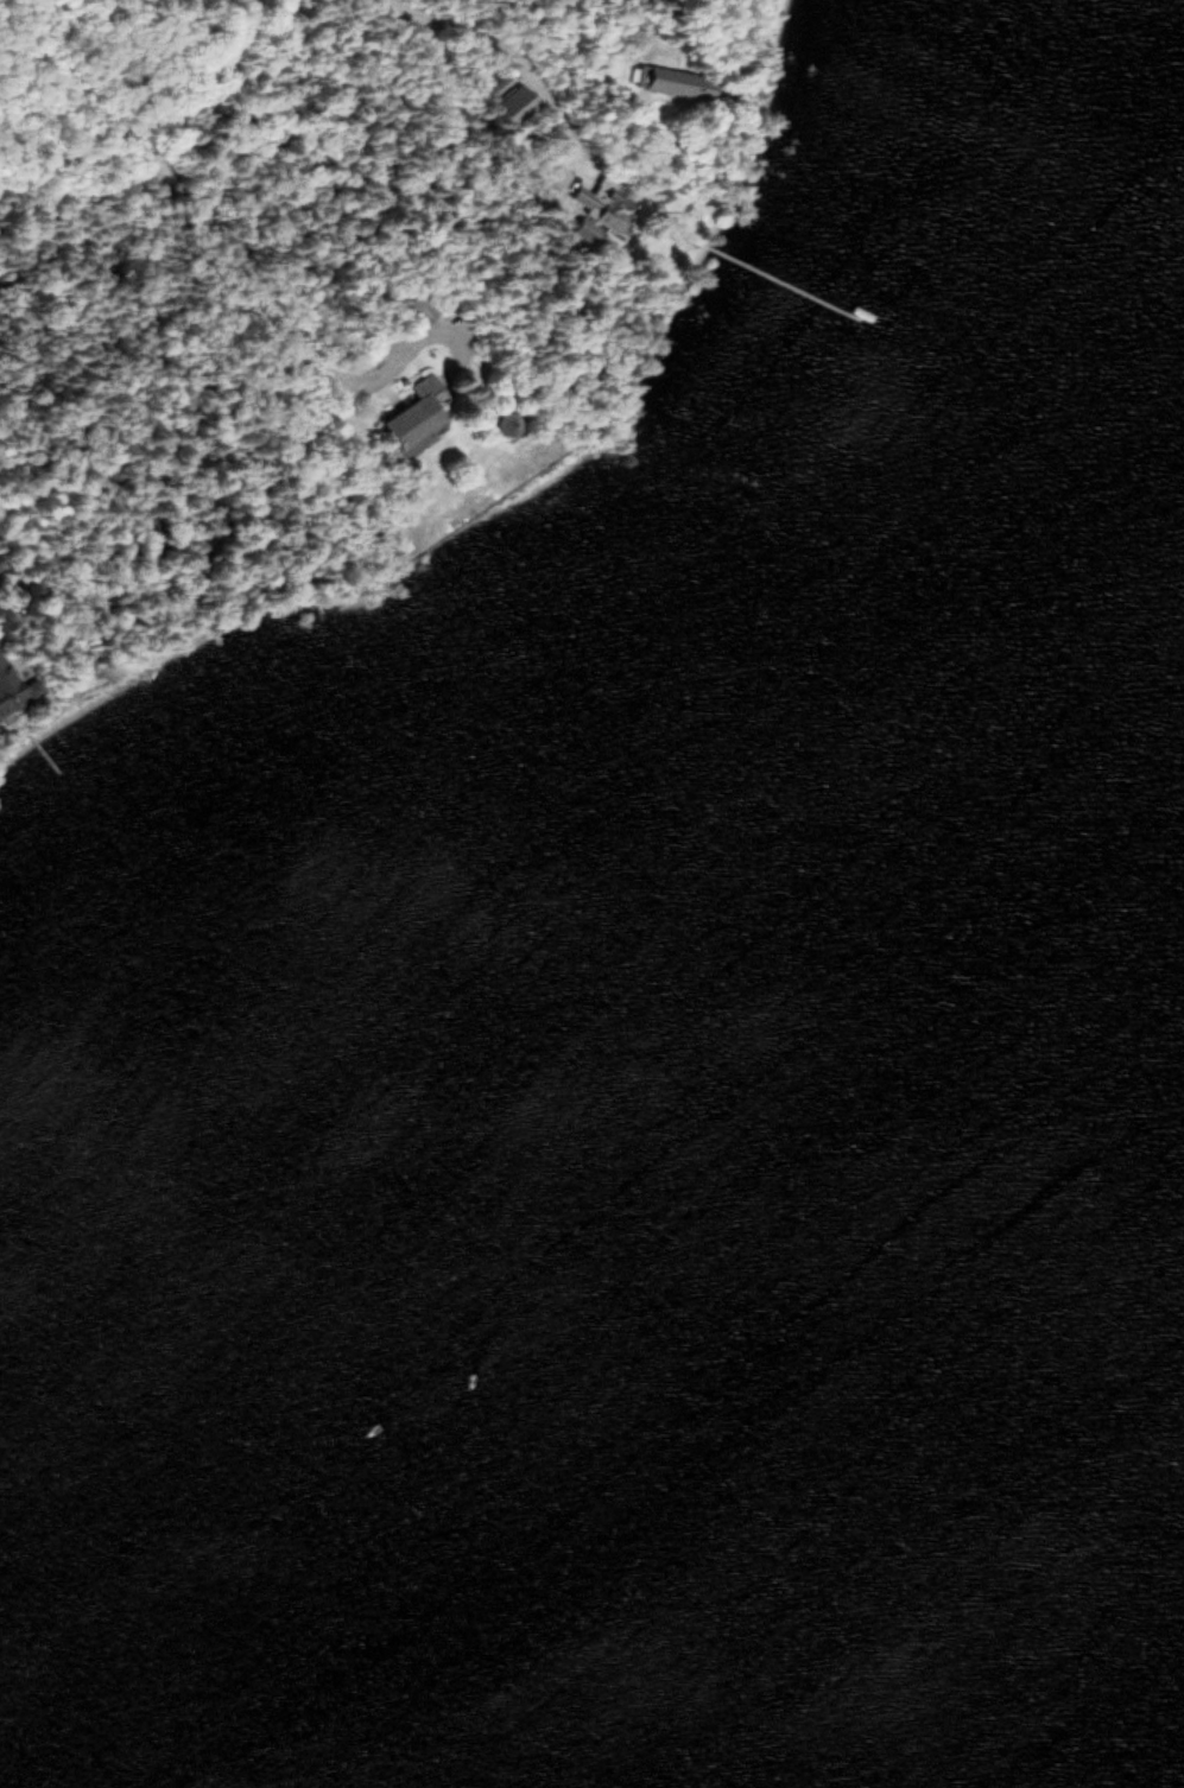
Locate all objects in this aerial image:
road: (517, 53)
building: (677, 81)
building: (518, 103)
building: (606, 209)
road: (222, 236)
building: (420, 416)
building: (509, 420)
building: (0, 565)
building: (15, 686)

